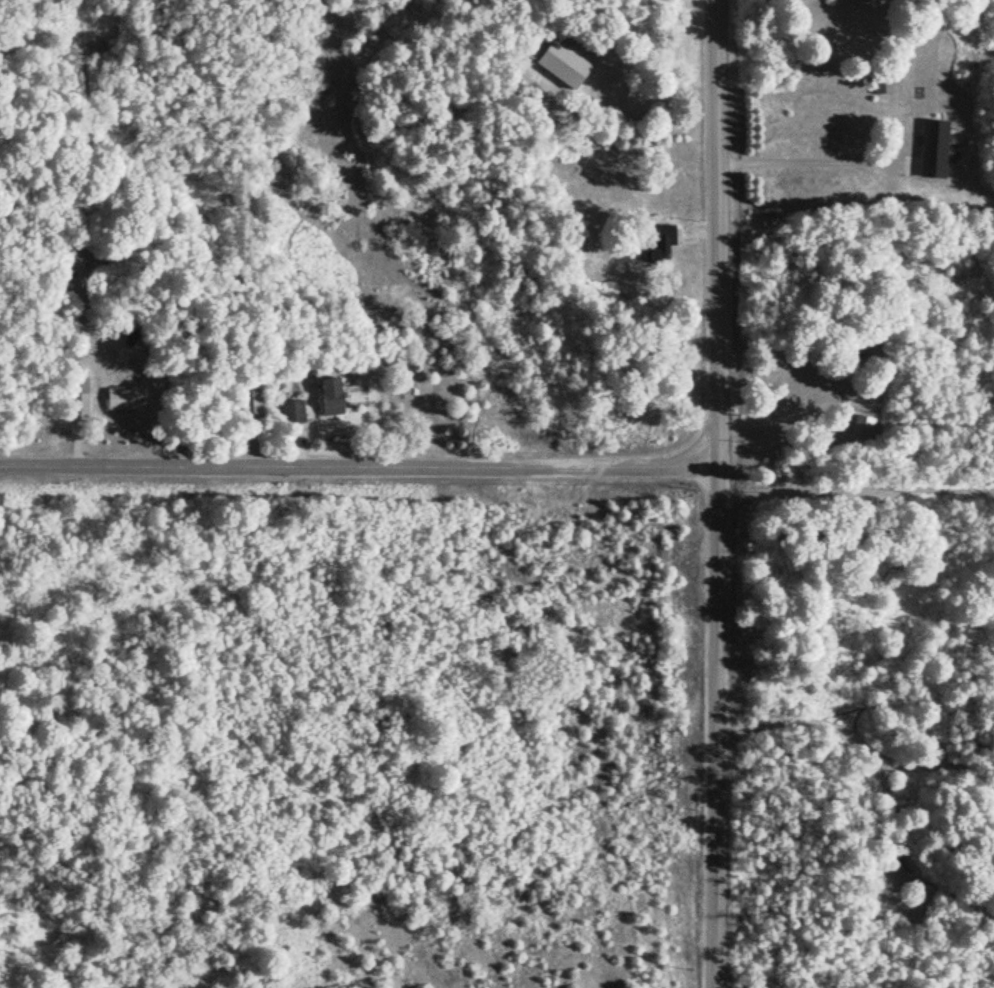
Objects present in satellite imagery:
building: (884, 78)
building: (614, 90)
road: (677, 93)
building: (937, 148)
road: (812, 163)
road: (911, 164)
road: (891, 176)
road: (702, 233)
building: (659, 244)
building: (842, 388)
building: (332, 397)
building: (126, 399)
building: (250, 399)
building: (79, 405)
road: (832, 406)
road: (918, 411)
building: (293, 413)
road: (786, 419)
building: (866, 426)
road: (361, 463)
road: (858, 492)
road: (722, 494)
road: (736, 987)

